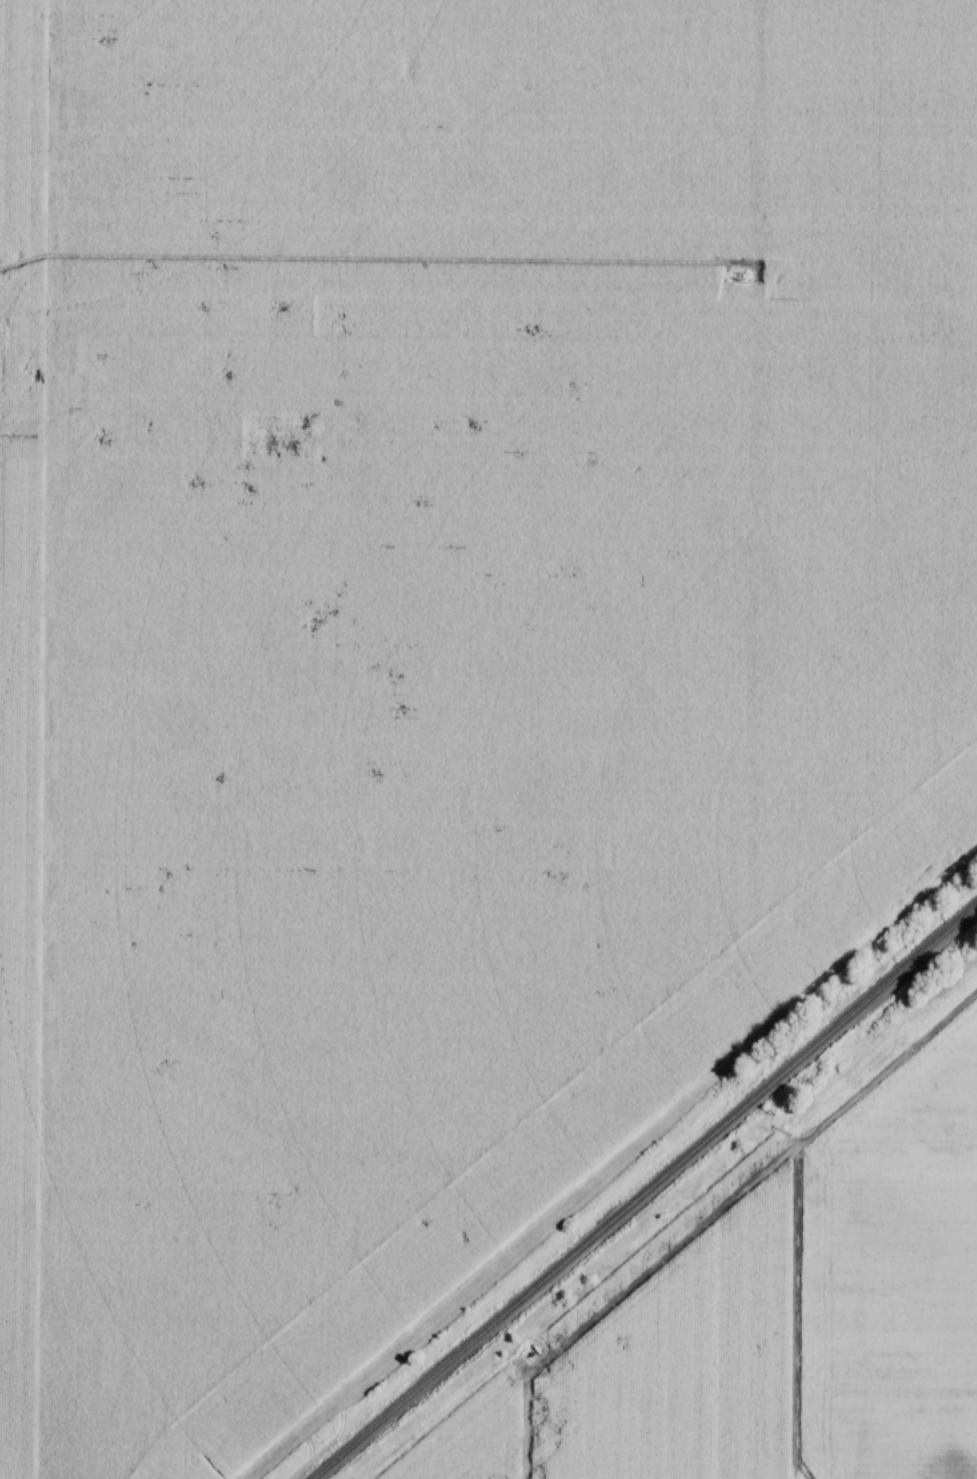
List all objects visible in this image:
crop: (442, 639)
railway: (645, 1193)
crop: (892, 1275)
crop: (683, 1364)
crop: (475, 1435)

